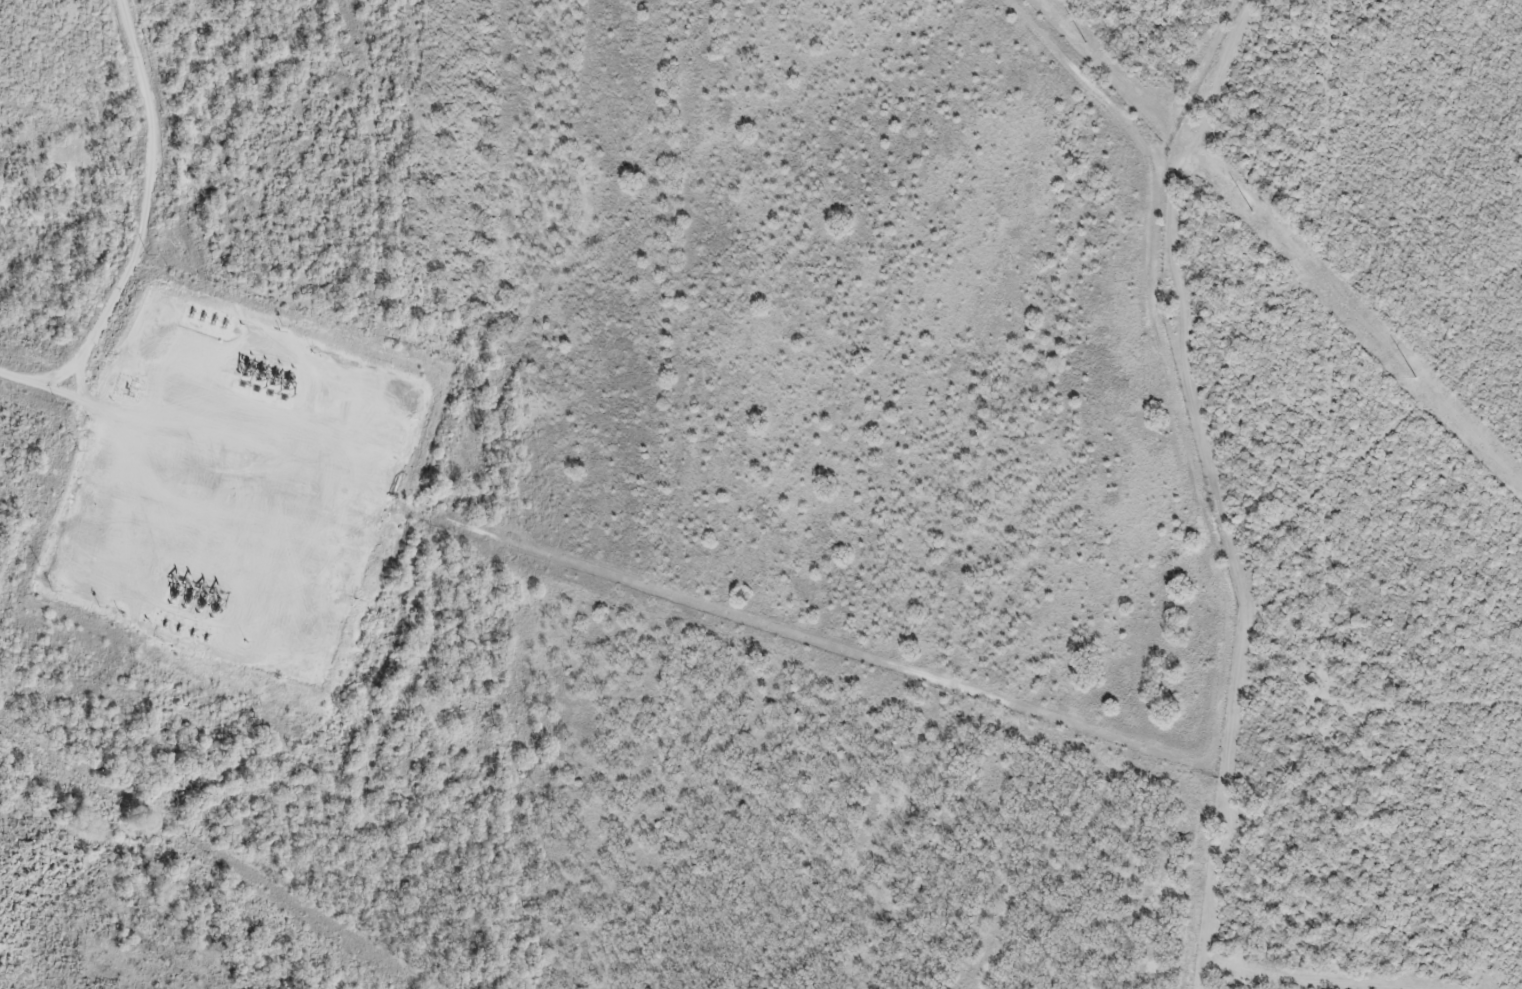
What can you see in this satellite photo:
power tower: (1086, 43)
power tower: (1250, 213)
power tower: (1415, 377)

